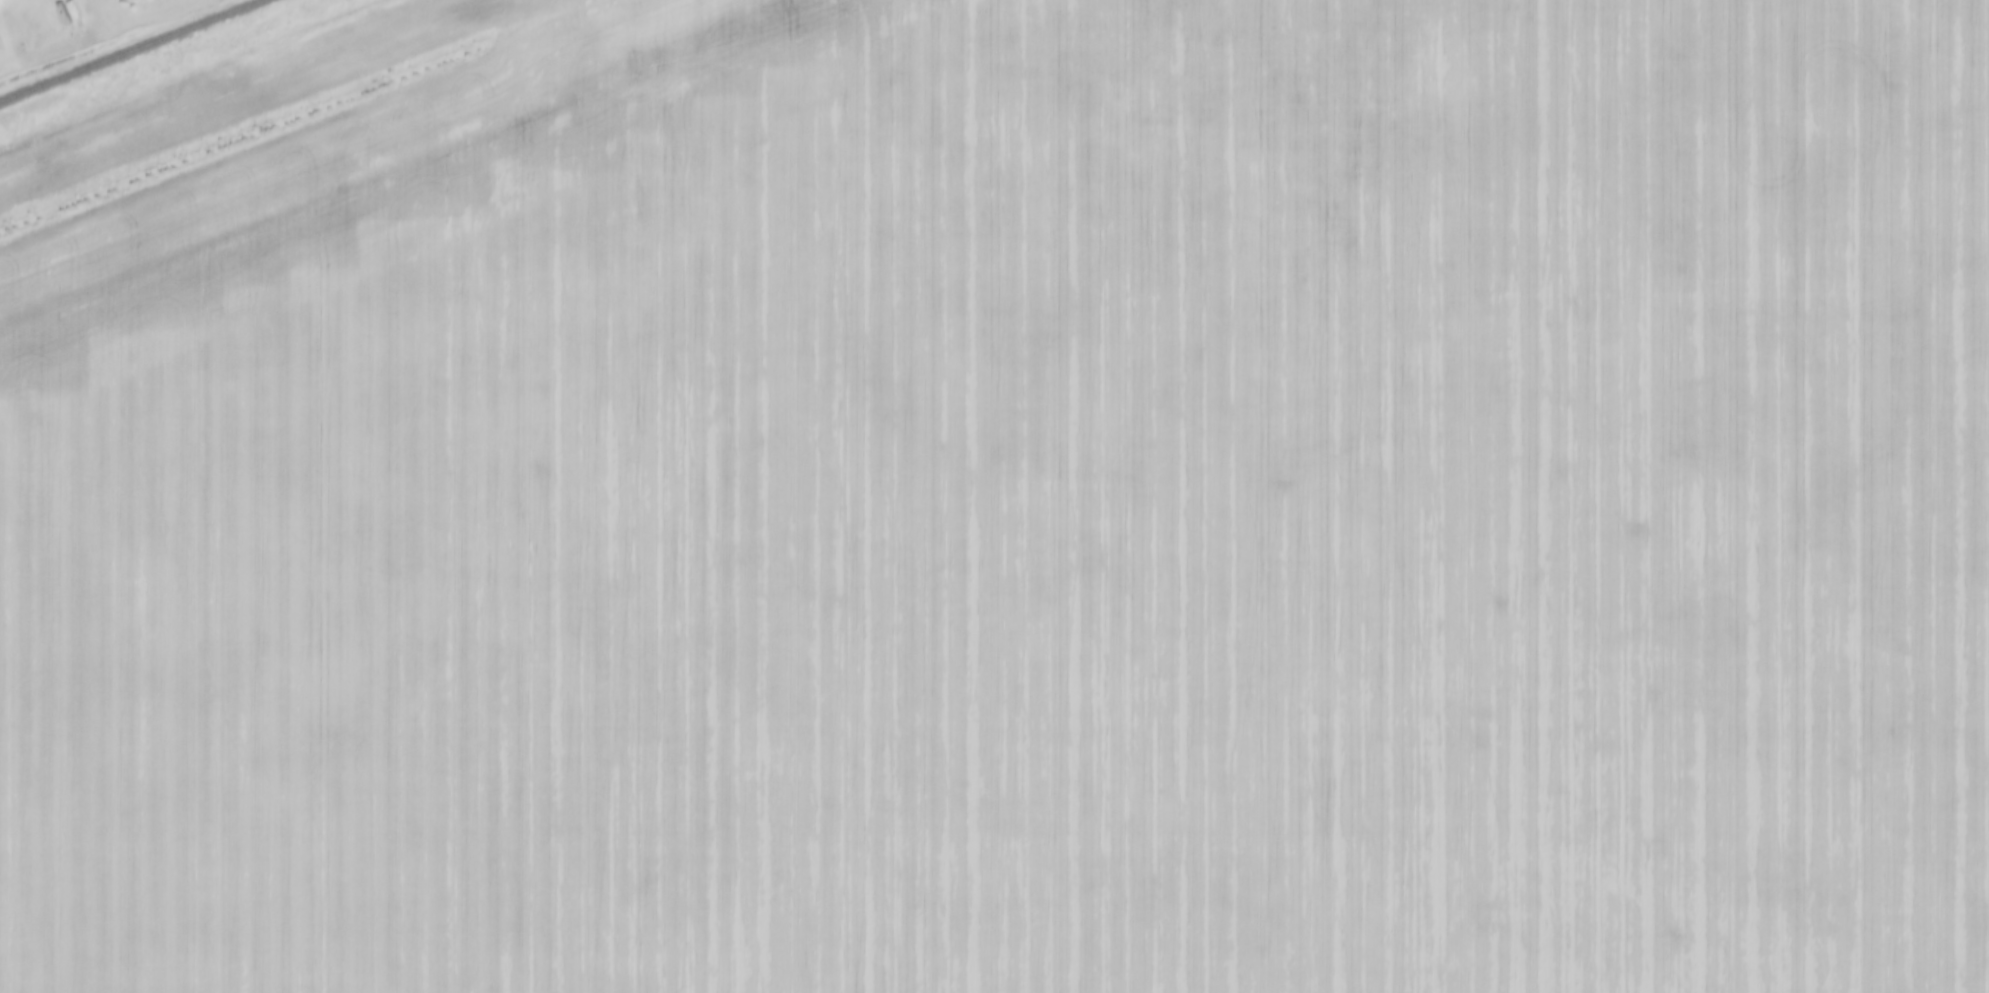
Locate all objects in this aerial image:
building: (2, 46)
railway: (132, 50)
crop: (1006, 502)

